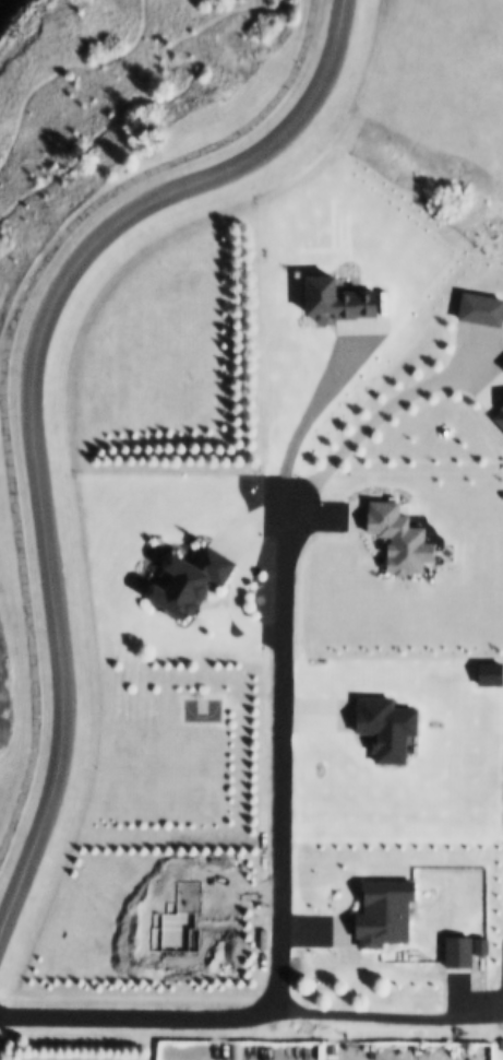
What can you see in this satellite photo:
road: (122, 173)
road: (3, 360)
road: (33, 404)
road: (1, 415)
road: (375, 416)
road: (301, 424)
building: (195, 582)
road: (276, 893)
road: (382, 1015)

